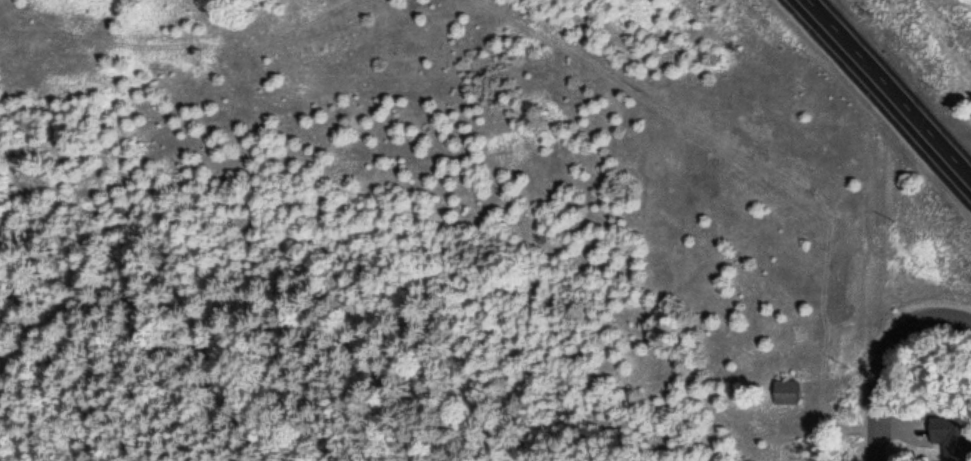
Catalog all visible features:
road: (884, 95)
road: (883, 354)
building: (784, 390)
building: (948, 435)

